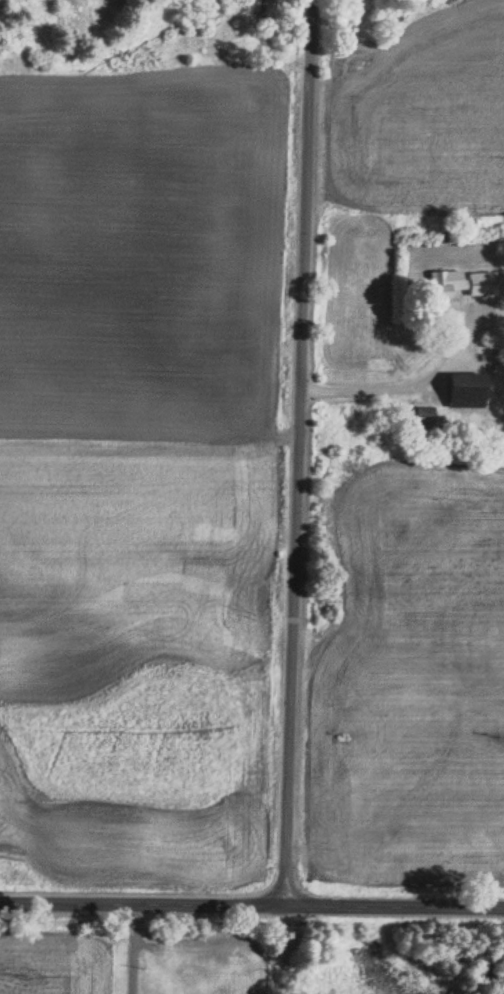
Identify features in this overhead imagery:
building: (443, 284)
road: (379, 390)
building: (463, 392)
road: (293, 453)
road: (251, 906)
road: (132, 948)

